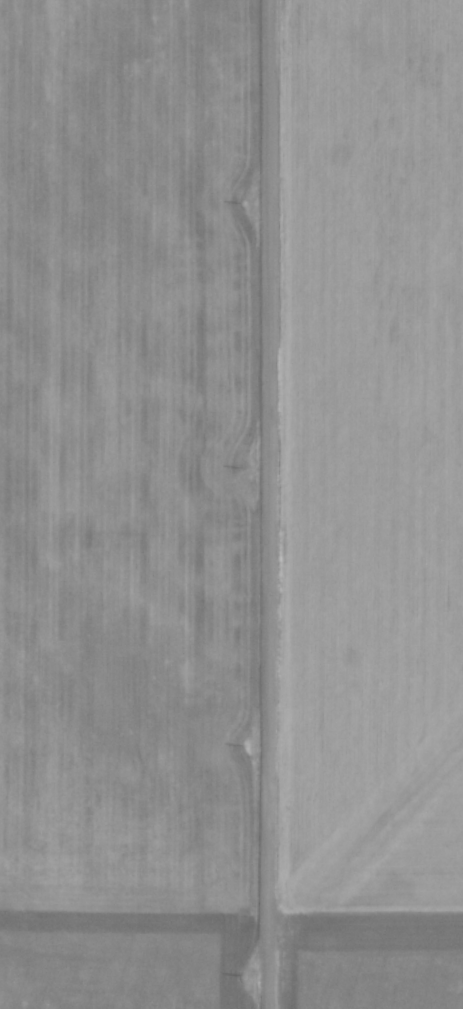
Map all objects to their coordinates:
road: (268, 504)
crop: (127, 505)
crop: (370, 505)

